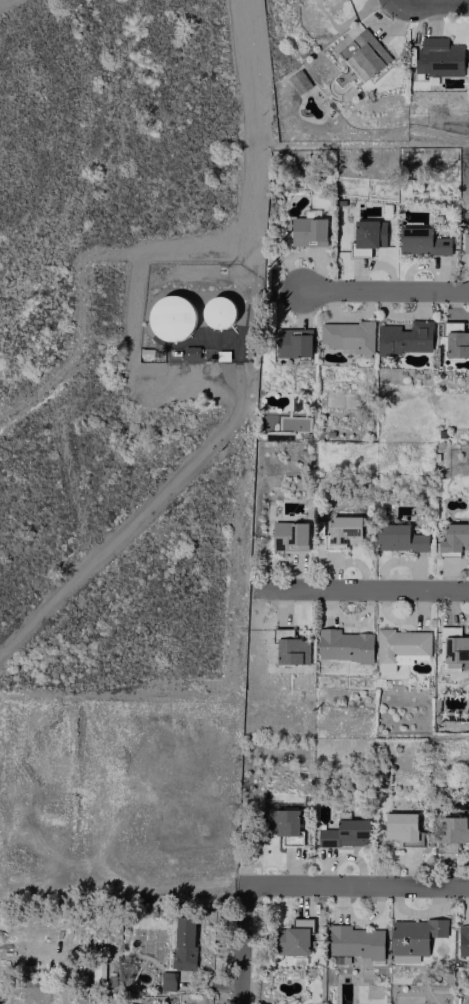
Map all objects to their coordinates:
road: (431, 2)
building: (363, 55)
building: (438, 56)
building: (307, 231)
building: (367, 235)
building: (421, 241)
building: (465, 241)
road: (382, 289)
building: (218, 311)
building: (172, 317)
building: (348, 335)
building: (405, 337)
building: (456, 340)
building: (293, 342)
building: (190, 351)
road: (132, 519)
building: (342, 530)
building: (289, 536)
building: (398, 538)
building: (455, 538)
road: (370, 587)
building: (344, 645)
building: (401, 647)
building: (291, 648)
building: (281, 821)
building: (402, 828)
building: (454, 829)
building: (345, 833)
road: (357, 883)
building: (413, 937)
building: (294, 938)
building: (463, 940)
building: (354, 941)
building: (183, 942)
road: (244, 943)
building: (167, 980)

